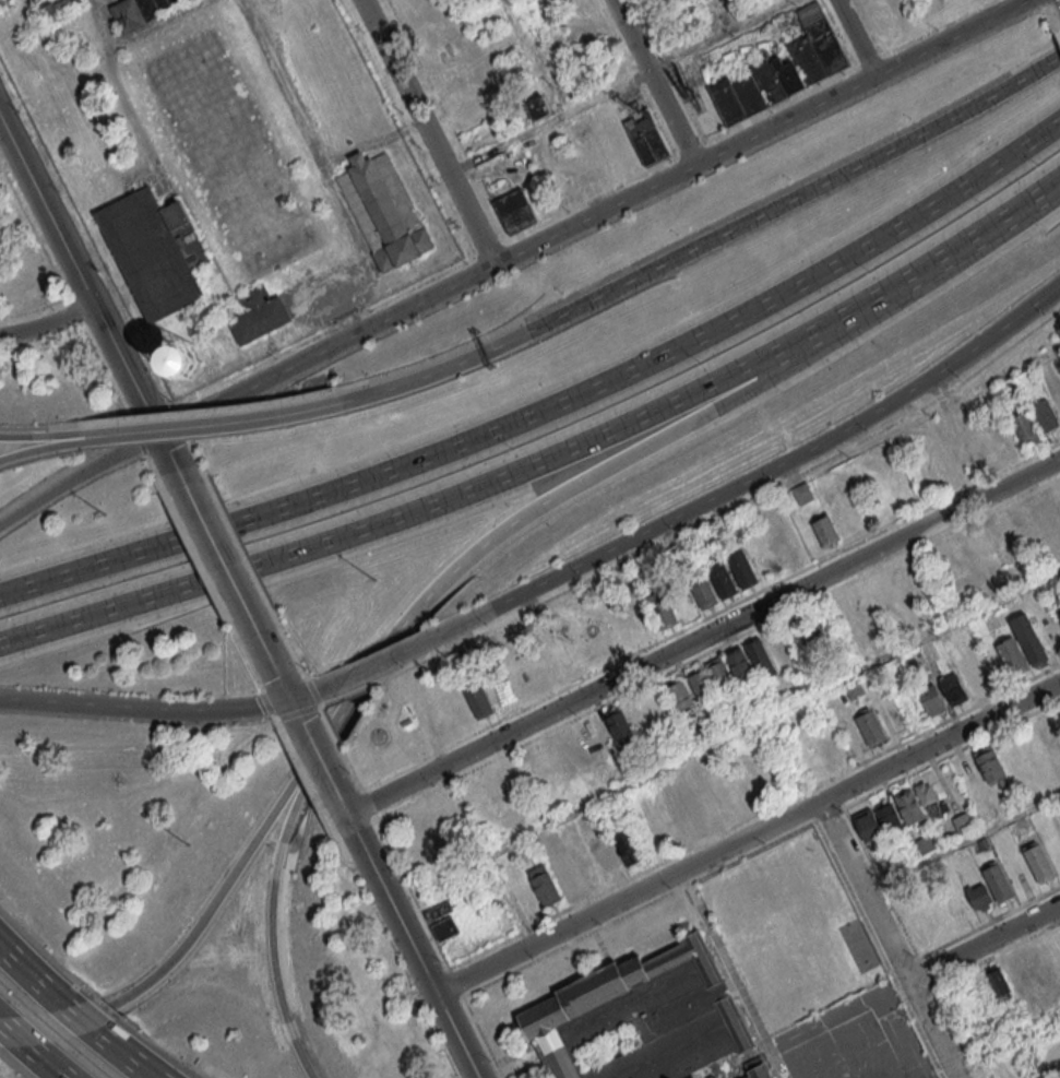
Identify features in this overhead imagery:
building: (58, 7)
building: (141, 10)
road: (854, 38)
building: (784, 69)
road: (652, 82)
road: (617, 86)
building: (537, 108)
road: (427, 132)
building: (646, 139)
road: (618, 203)
building: (514, 211)
building: (381, 215)
building: (155, 251)
road: (646, 271)
road: (917, 271)
road: (92, 304)
building: (257, 313)
road: (46, 323)
road: (827, 345)
building: (178, 359)
road: (990, 384)
building: (1057, 403)
road: (551, 406)
building: (1047, 417)
road: (160, 430)
building: (1027, 430)
road: (46, 435)
road: (102, 436)
building: (982, 447)
road: (46, 448)
road: (100, 462)
road: (743, 482)
building: (802, 493)
building: (1043, 514)
street lamp: (109, 517)
road: (392, 519)
building: (1022, 523)
building: (827, 534)
building: (981, 545)
building: (785, 549)
road: (221, 552)
building: (743, 571)
road: (439, 582)
building: (726, 584)
building: (902, 584)
building: (704, 594)
building: (881, 594)
building: (860, 604)
building: (1058, 612)
building: (665, 614)
building: (639, 616)
building: (598, 637)
road: (704, 637)
building: (1028, 639)
building: (1010, 656)
building: (761, 659)
road: (379, 665)
building: (561, 665)
building: (741, 668)
road: (282, 677)
building: (723, 677)
building: (962, 682)
building: (702, 687)
building: (499, 691)
building: (681, 697)
building: (931, 699)
road: (4, 700)
building: (478, 700)
road: (180, 708)
building: (636, 713)
building: (710, 724)
building: (619, 726)
building: (870, 727)
building: (1047, 732)
building: (597, 734)
road: (726, 736)
building: (576, 746)
road: (320, 754)
building: (556, 758)
building: (990, 766)
building: (686, 769)
building: (516, 773)
building: (920, 803)
building: (707, 807)
road: (755, 817)
building: (688, 818)
building: (878, 821)
road: (749, 838)
road: (964, 841)
street lamp: (191, 845)
road: (865, 845)
building: (925, 845)
building: (628, 846)
building: (608, 855)
building: (1038, 861)
building: (584, 867)
building: (564, 874)
building: (998, 882)
building: (546, 886)
building: (979, 897)
road: (267, 899)
building: (438, 911)
road: (198, 923)
road: (404, 925)
building: (445, 928)
road: (894, 938)
road: (986, 939)
building: (1019, 973)
road: (34, 978)
building: (997, 984)
building: (640, 1016)
road: (84, 1021)
road: (13, 1036)
road: (1009, 1042)
road: (126, 1056)
road: (45, 1063)
building: (757, 1073)

